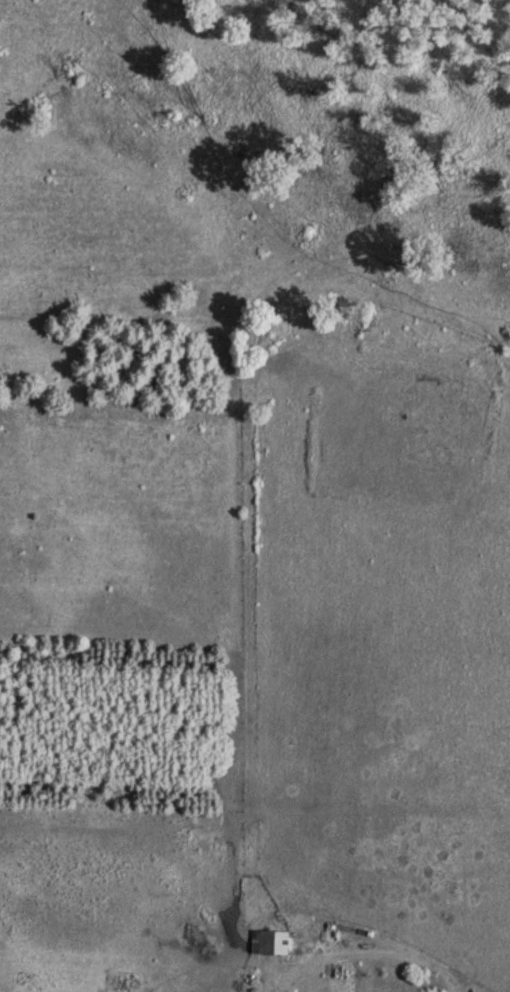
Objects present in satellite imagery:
building: (271, 942)
road: (367, 953)

